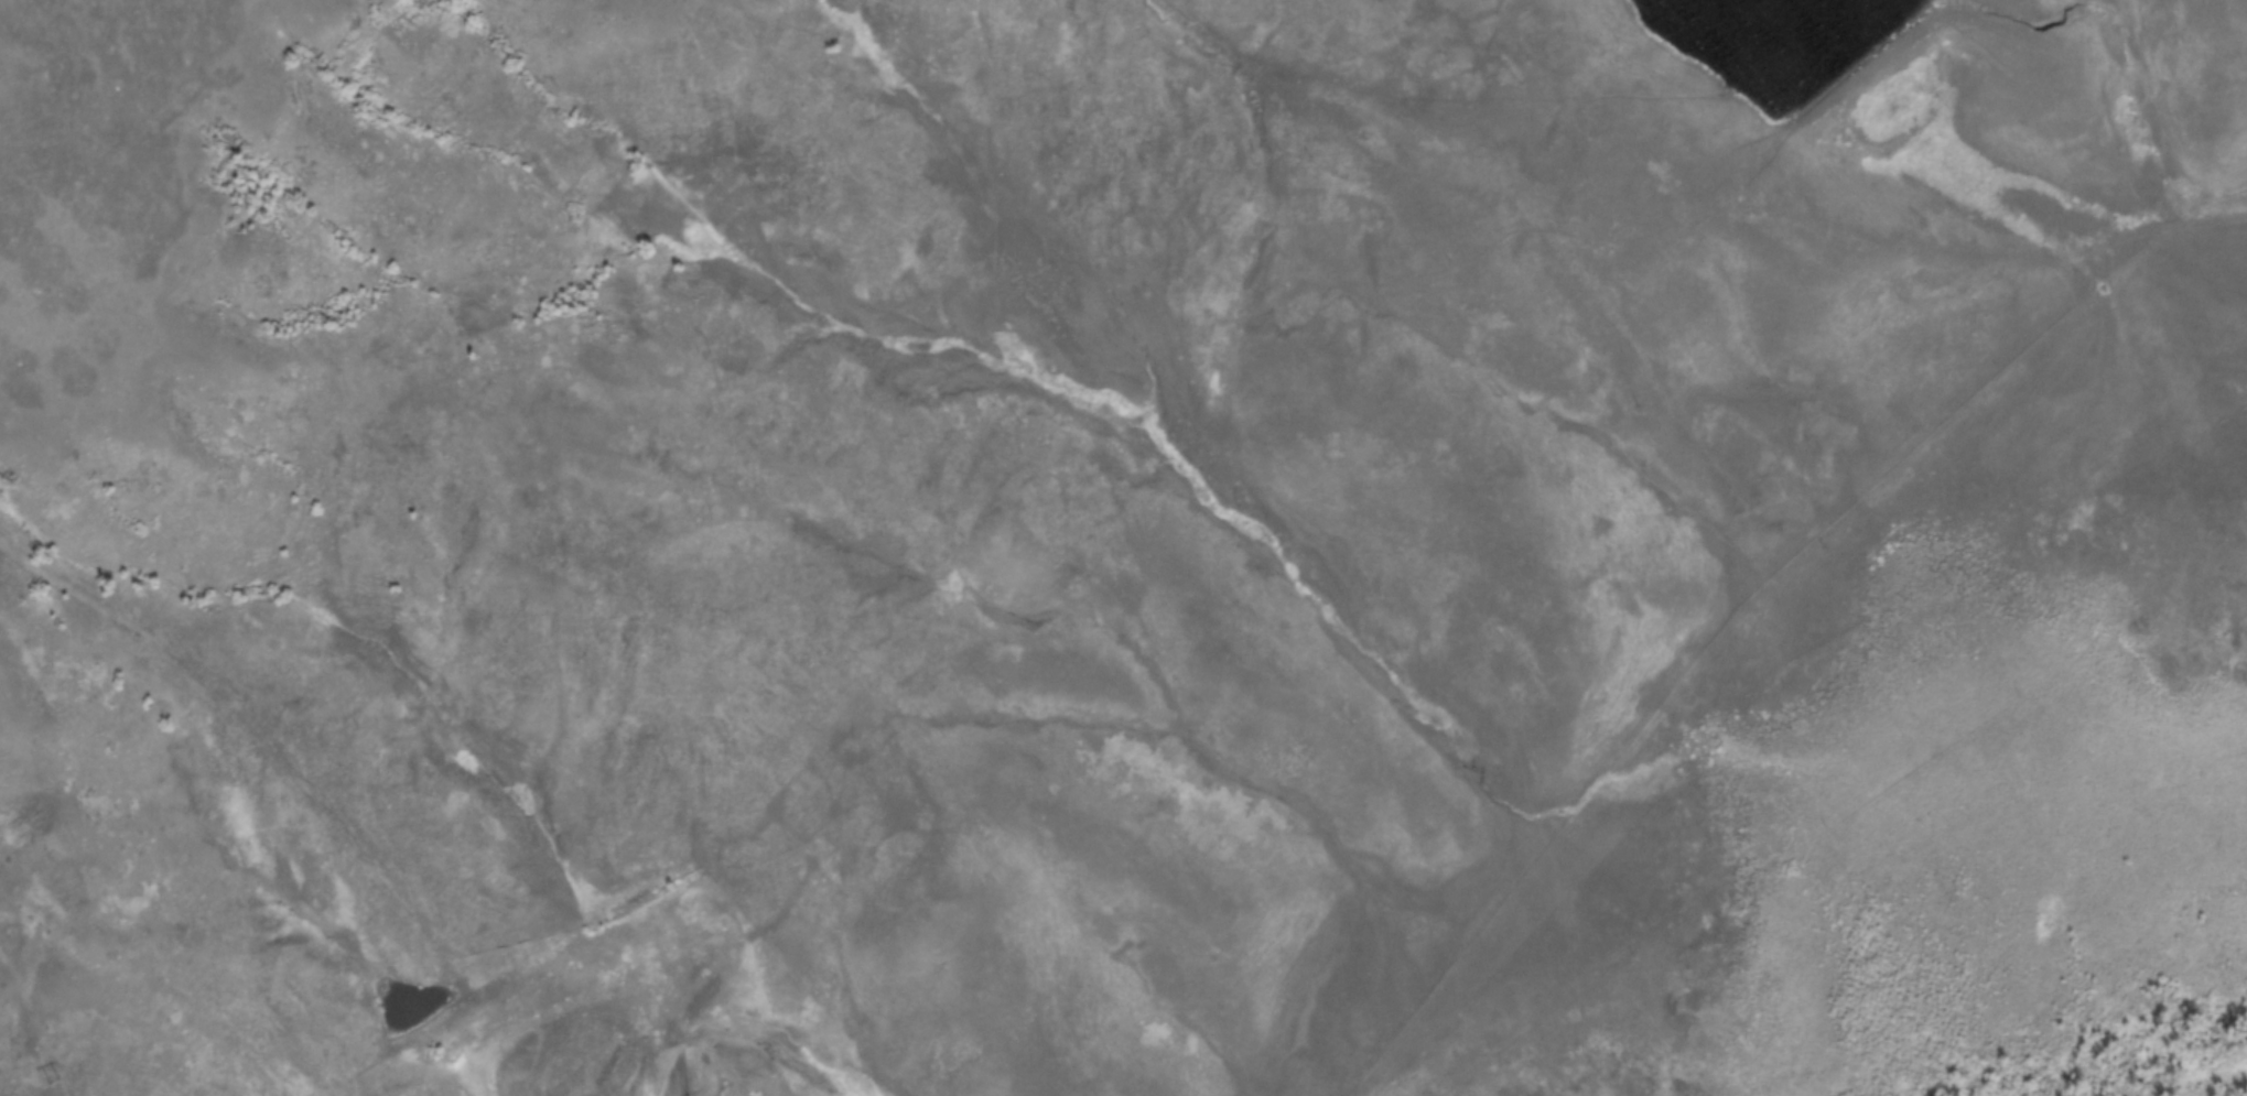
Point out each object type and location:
power tower: (56, 1085)

